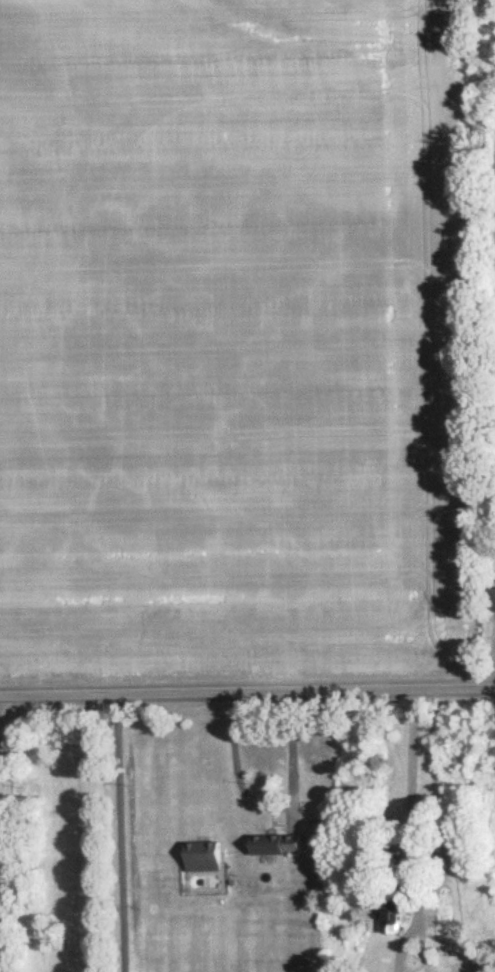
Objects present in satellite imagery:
building: (493, 591)
road: (247, 686)
road: (274, 805)
road: (411, 829)
road: (119, 831)
building: (275, 844)
building: (202, 856)
building: (391, 916)

